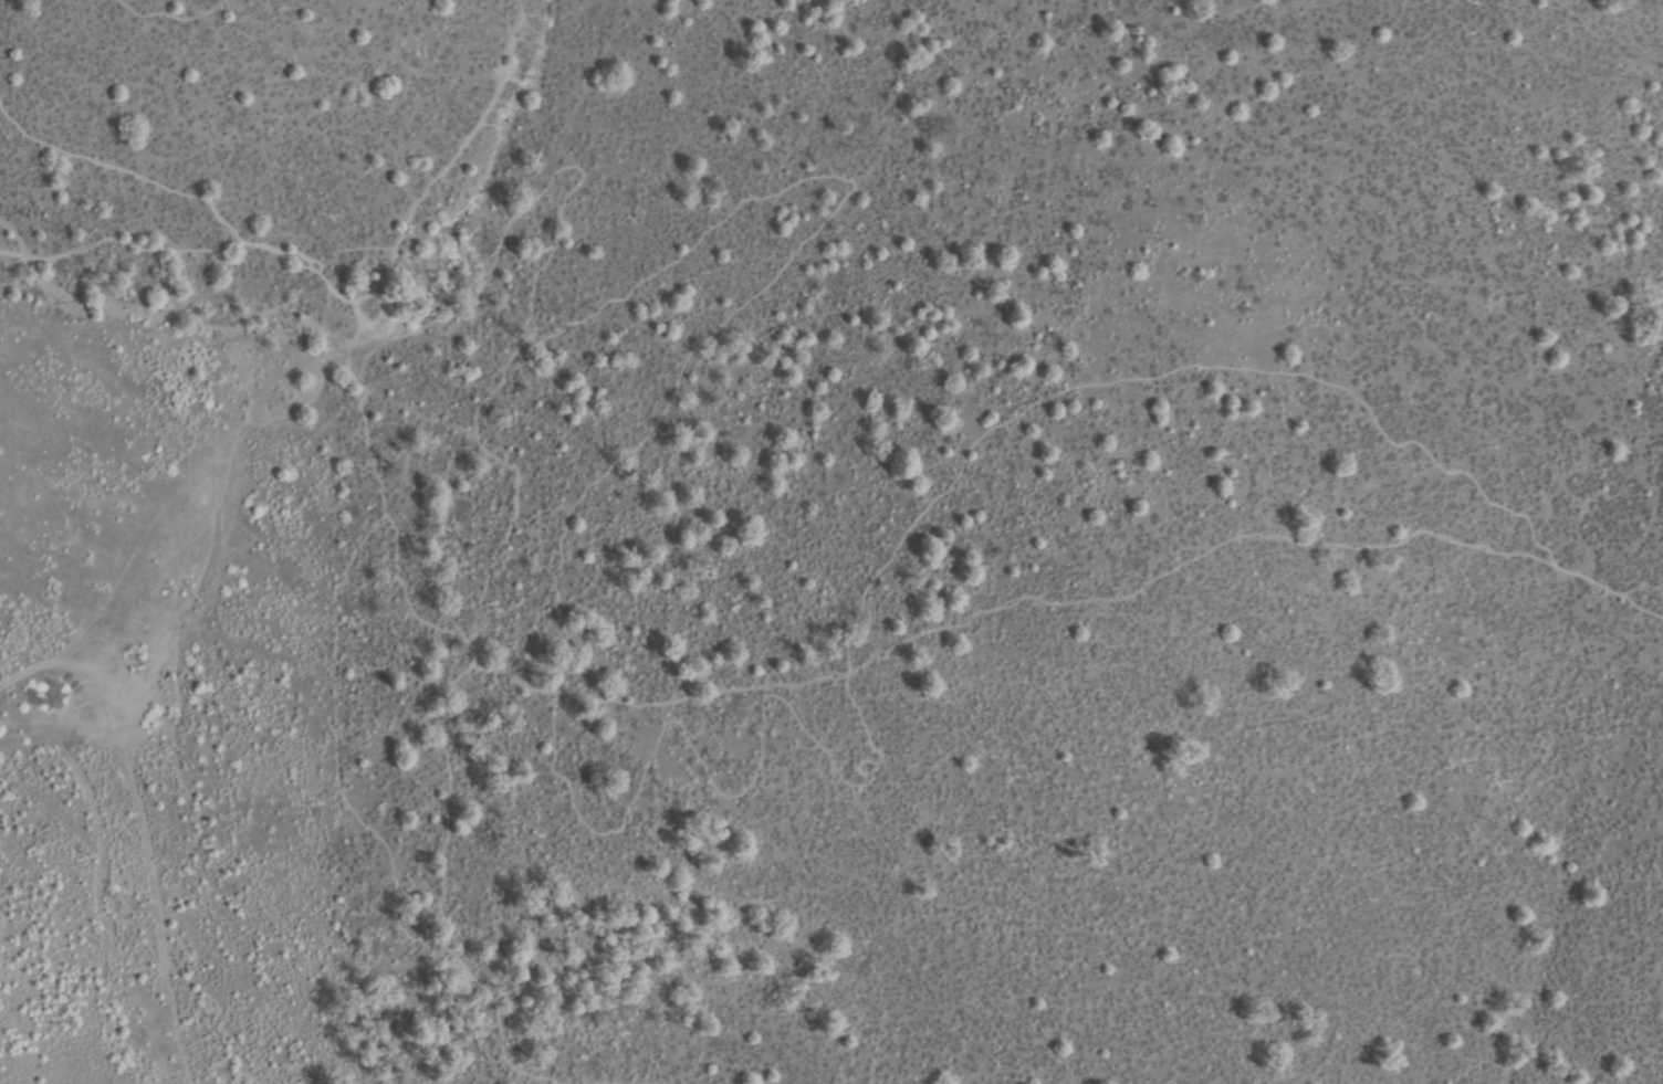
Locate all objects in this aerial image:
road: (168, 10)
road: (443, 161)
road: (116, 179)
road: (118, 240)
road: (293, 261)
road: (324, 730)
road: (632, 1075)

